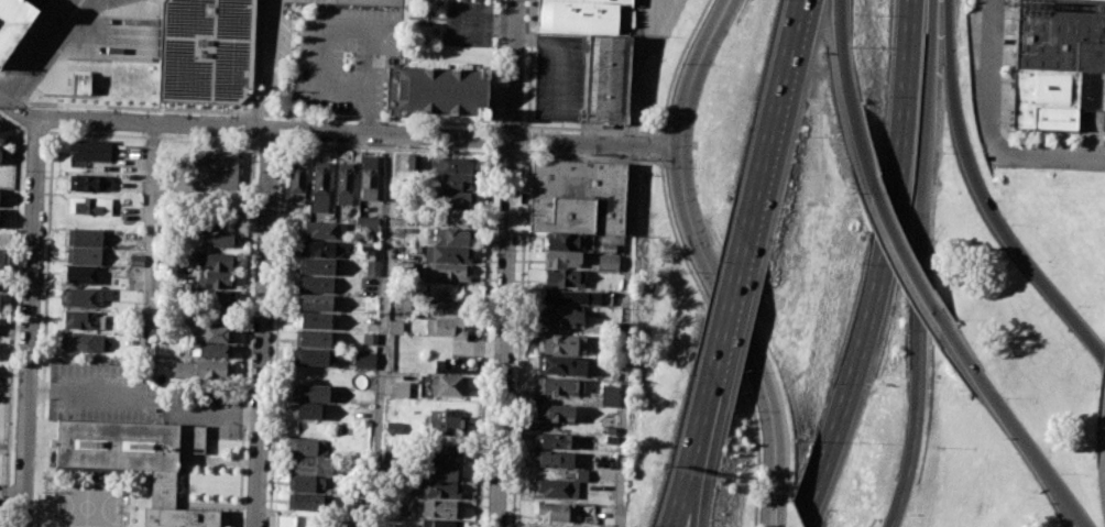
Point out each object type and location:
building: (35, 2)
building: (586, 17)
building: (13, 22)
road: (485, 22)
parking lot: (470, 23)
building: (1060, 35)
building: (201, 47)
road: (43, 50)
road: (560, 54)
parking lot: (347, 59)
road: (529, 63)
road: (495, 65)
road: (275, 67)
road: (514, 70)
road: (634, 73)
road: (995, 74)
road: (0, 76)
parking lot: (559, 77)
building: (608, 79)
building: (80, 84)
road: (12, 88)
building: (436, 91)
road: (847, 94)
road: (4, 98)
building: (1059, 98)
road: (781, 100)
road: (134, 107)
road: (252, 112)
road: (1003, 117)
road: (376, 119)
road: (497, 124)
road: (511, 124)
road: (258, 129)
road: (527, 129)
road: (658, 129)
road: (22, 130)
road: (36, 131)
road: (658, 131)
building: (4, 133)
road: (152, 135)
road: (493, 139)
road: (527, 140)
road: (267, 142)
road: (595, 144)
road: (658, 145)
road: (384, 147)
building: (90, 150)
building: (2, 152)
road: (1048, 156)
road: (591, 157)
building: (413, 162)
building: (452, 164)
building: (215, 168)
building: (366, 177)
building: (90, 182)
building: (296, 182)
building: (458, 182)
building: (342, 183)
building: (319, 187)
building: (1, 197)
building: (577, 197)
road: (983, 197)
building: (458, 199)
building: (89, 206)
building: (0, 217)
building: (455, 217)
building: (221, 221)
building: (322, 230)
building: (368, 232)
building: (86, 237)
building: (452, 237)
building: (217, 240)
road: (152, 241)
building: (566, 241)
building: (320, 248)
building: (608, 249)
road: (901, 251)
building: (84, 255)
building: (447, 255)
building: (562, 259)
building: (135, 260)
building: (216, 260)
building: (6, 261)
road: (709, 262)
building: (608, 263)
road: (882, 264)
road: (923, 264)
building: (317, 266)
building: (403, 266)
building: (371, 267)
building: (449, 273)
building: (83, 275)
building: (564, 277)
building: (216, 278)
building: (315, 284)
road: (734, 290)
building: (571, 296)
building: (83, 297)
building: (211, 297)
building: (316, 303)
building: (448, 307)
road: (11, 316)
building: (215, 316)
building: (560, 316)
building: (81, 319)
building: (315, 320)
road: (30, 321)
building: (394, 327)
building: (446, 327)
road: (263, 328)
road: (44, 329)
road: (383, 331)
building: (210, 333)
road: (504, 333)
road: (244, 334)
road: (276, 334)
road: (626, 336)
road: (485, 337)
building: (369, 338)
road: (518, 338)
road: (724, 338)
building: (314, 339)
building: (81, 342)
building: (560, 344)
building: (210, 351)
building: (314, 358)
building: (364, 360)
building: (560, 365)
building: (203, 370)
building: (448, 385)
building: (557, 387)
building: (398, 391)
road: (79, 392)
building: (310, 393)
building: (608, 395)
parking lot: (136, 399)
building: (306, 411)
building: (554, 411)
road: (218, 415)
road: (1009, 420)
building: (444, 422)
building: (393, 427)
road: (700, 431)
park: (8, 433)
building: (552, 440)
building: (306, 447)
building: (444, 452)
building: (554, 459)
building: (139, 461)
building: (310, 466)
building: (442, 471)
building: (580, 475)
building: (306, 483)
building: (554, 487)
building: (437, 490)
building: (305, 503)
road: (681, 504)
road: (690, 504)
building: (440, 508)
building: (555, 512)
road: (1072, 517)
building: (284, 520)
building: (438, 523)

